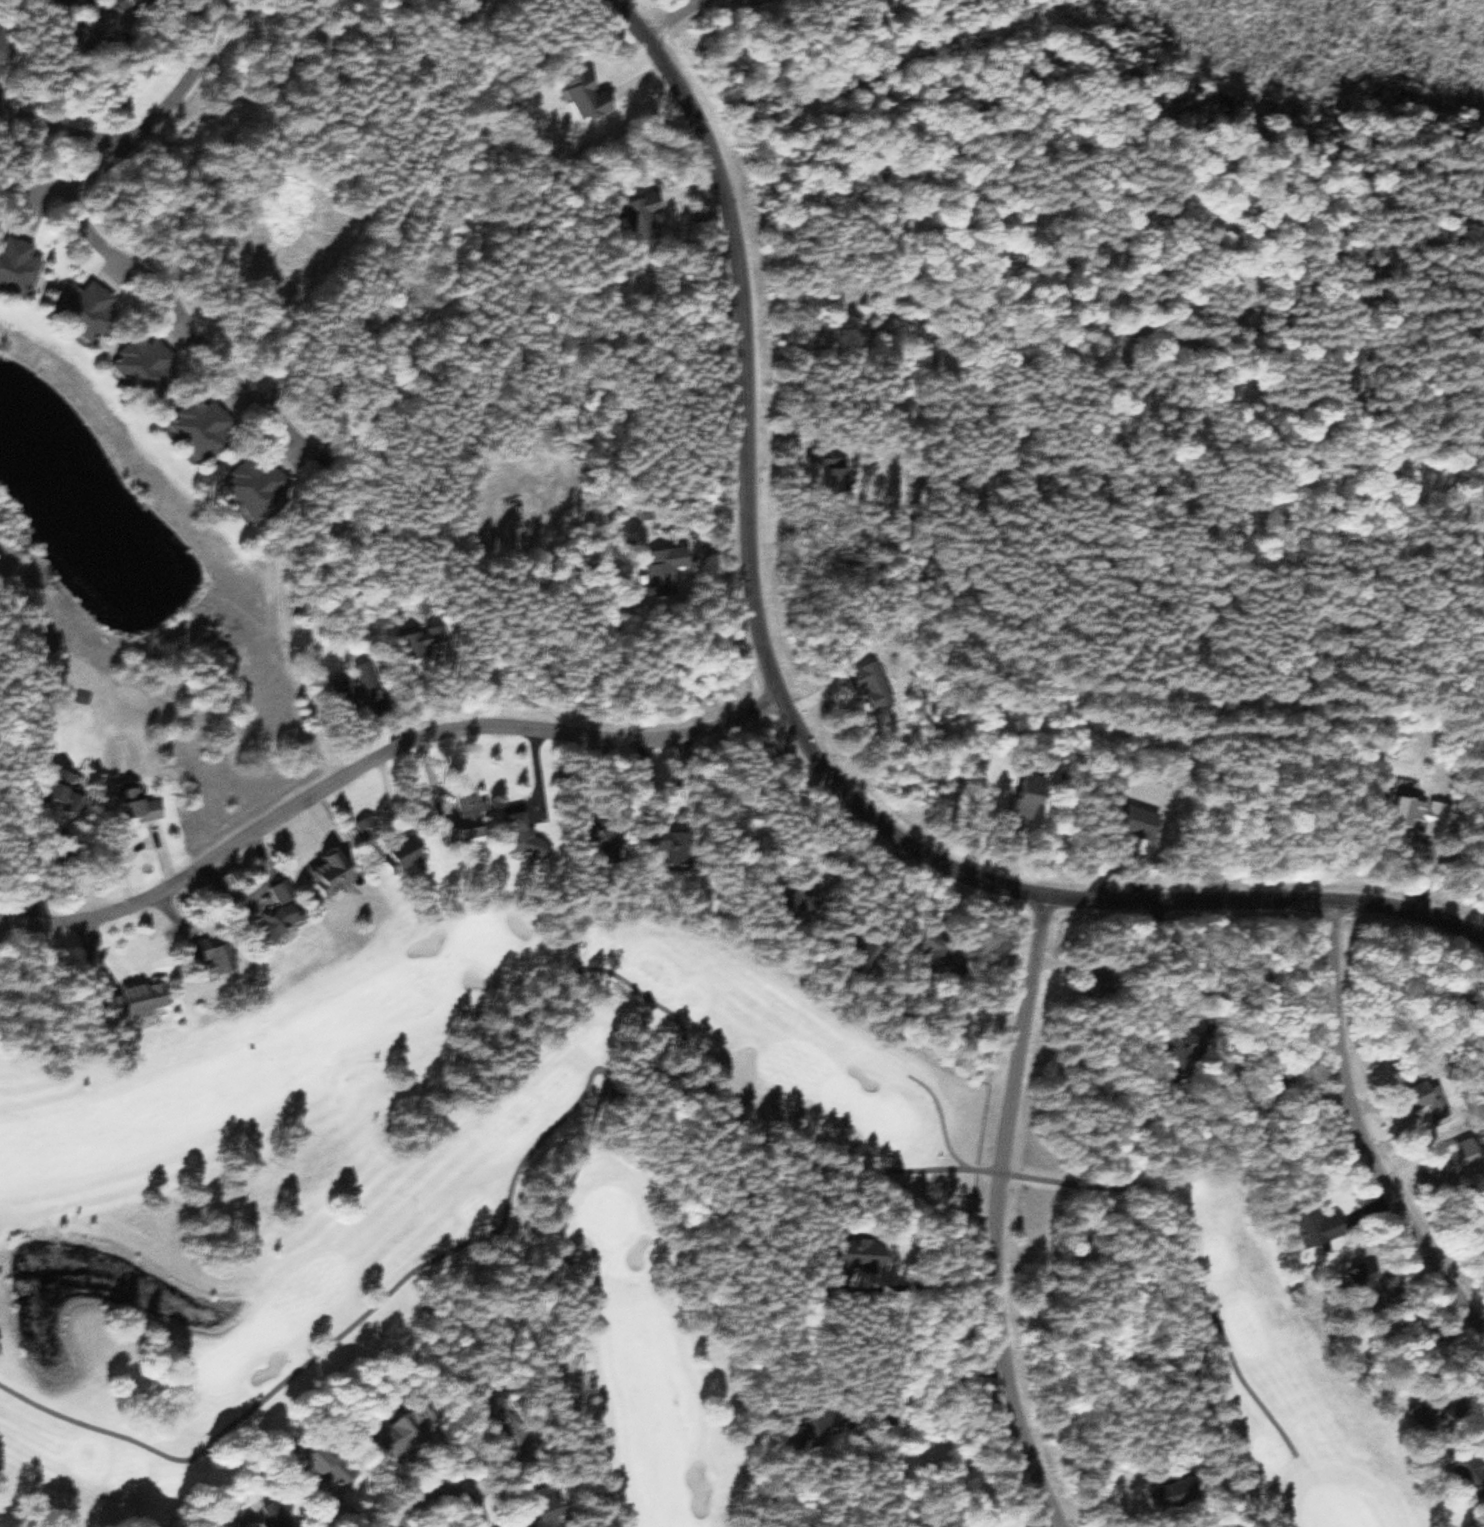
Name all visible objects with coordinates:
building: (96, 2)
building: (71, 5)
building: (104, 16)
road: (672, 21)
building: (4, 48)
road: (191, 80)
building: (576, 94)
road: (66, 129)
road: (74, 188)
building: (633, 218)
building: (19, 266)
building: (90, 312)
road: (192, 317)
building: (147, 367)
building: (204, 428)
building: (822, 475)
building: (250, 491)
building: (653, 569)
building: (419, 648)
building: (861, 686)
building: (350, 701)
road: (790, 725)
road: (373, 758)
building: (74, 795)
building: (1017, 797)
building: (142, 804)
building: (1412, 814)
building: (373, 830)
building: (524, 832)
building: (579, 840)
building: (655, 847)
building: (412, 851)
building: (338, 868)
building: (774, 906)
building: (288, 916)
building: (834, 948)
building: (931, 957)
building: (217, 960)
building: (1084, 982)
building: (137, 1003)
building: (1171, 1053)
building: (1408, 1098)
road: (1354, 1135)
road: (996, 1217)
building: (1301, 1227)
park: (636, 1256)
building: (842, 1260)
building: (1353, 1289)
building: (1417, 1420)
building: (821, 1428)
building: (403, 1434)
building: (333, 1466)
building: (1457, 1474)
building: (555, 1512)
building: (281, 1515)
road: (468, 1518)

